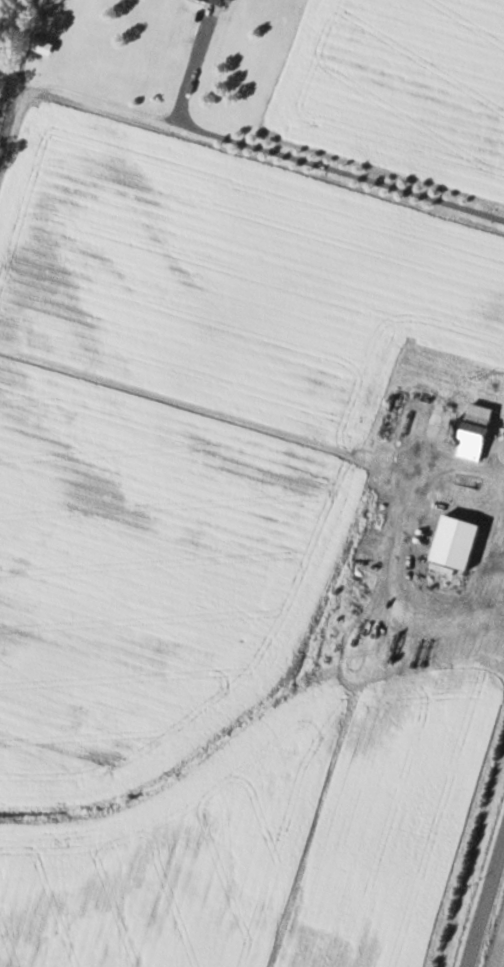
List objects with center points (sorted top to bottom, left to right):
building: (470, 431)
road: (487, 913)

